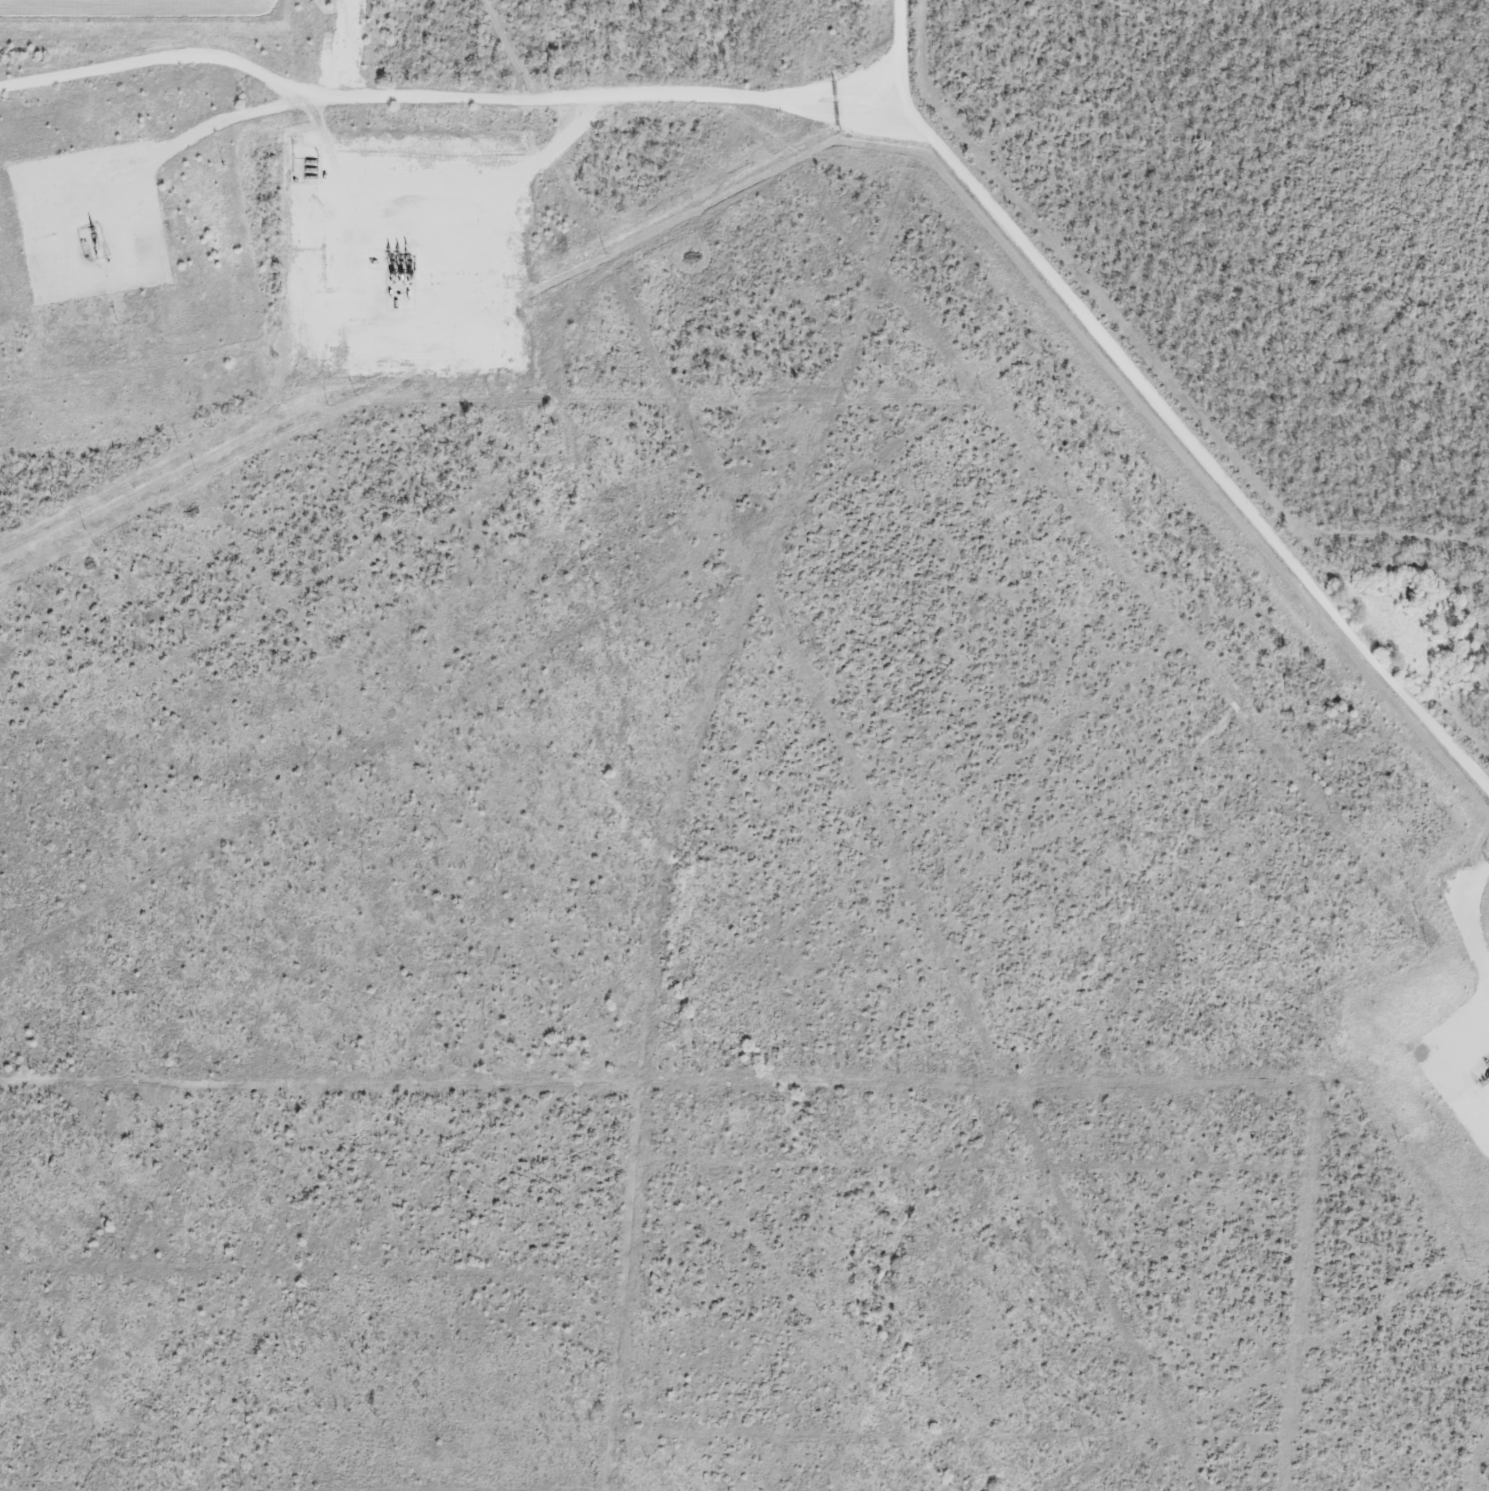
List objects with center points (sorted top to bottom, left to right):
road: (162, 64)
road: (510, 98)
road: (454, 308)
road: (1196, 442)
road: (1464, 903)

